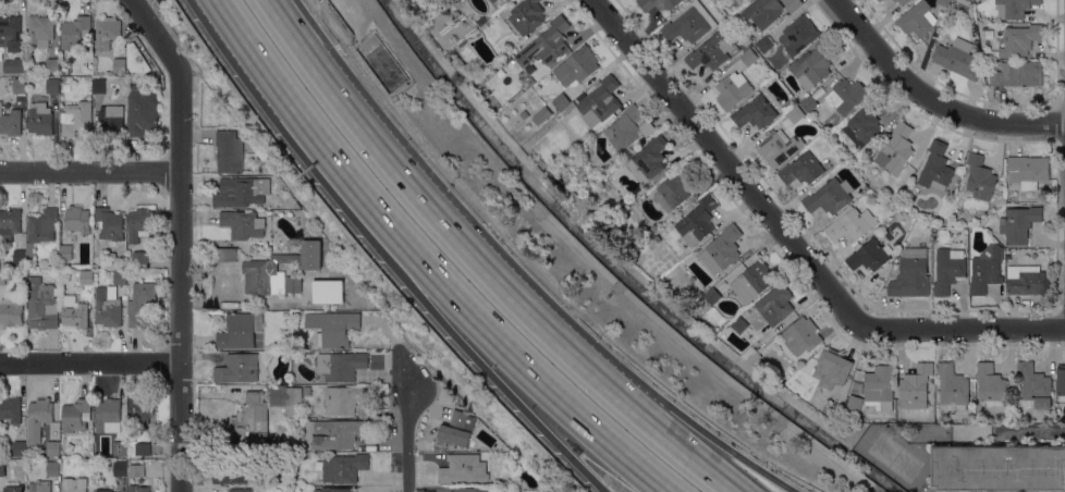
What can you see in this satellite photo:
building: (878, 0)
building: (880, 0)
building: (493, 1)
building: (506, 1)
building: (739, 1)
building: (902, 1)
building: (944, 2)
building: (659, 4)
building: (962, 8)
building: (1014, 8)
building: (763, 12)
building: (527, 16)
building: (917, 19)
building: (481, 21)
building: (689, 24)
building: (41, 30)
building: (75, 32)
building: (11, 33)
building: (107, 35)
building: (798, 35)
road: (240, 39)
building: (1020, 40)
building: (547, 44)
road: (327, 45)
building: (764, 45)
road: (304, 49)
building: (711, 52)
building: (749, 58)
building: (958, 58)
building: (136, 59)
building: (15, 65)
building: (52, 65)
building: (119, 65)
building: (812, 65)
building: (536, 66)
building: (577, 66)
building: (1017, 74)
building: (19, 86)
building: (52, 86)
building: (99, 86)
building: (733, 89)
building: (845, 96)
road: (930, 98)
building: (562, 101)
building: (600, 103)
building: (809, 103)
building: (568, 109)
building: (142, 111)
building: (756, 113)
building: (524, 114)
building: (795, 114)
building: (542, 115)
building: (76, 118)
building: (40, 119)
building: (111, 120)
building: (11, 122)
building: (864, 124)
building: (628, 128)
building: (779, 147)
building: (896, 150)
building: (229, 152)
building: (650, 159)
building: (935, 168)
building: (803, 169)
road: (90, 171)
building: (1028, 171)
road: (737, 176)
building: (980, 177)
building: (559, 180)
building: (674, 189)
building: (241, 192)
building: (860, 193)
building: (574, 195)
building: (830, 196)
building: (296, 207)
building: (77, 221)
building: (697, 221)
building: (10, 222)
building: (140, 223)
building: (1019, 223)
building: (110, 224)
building: (243, 224)
building: (850, 224)
building: (41, 229)
road: (452, 234)
road: (180, 237)
building: (722, 249)
building: (66, 251)
building: (227, 255)
building: (870, 255)
building: (20, 257)
building: (139, 257)
building: (260, 266)
building: (948, 270)
building: (987, 270)
building: (911, 274)
building: (120, 276)
building: (2, 278)
building: (86, 278)
building: (754, 282)
building: (1027, 282)
building: (293, 284)
building: (161, 291)
building: (328, 291)
road: (419, 295)
road: (455, 295)
building: (712, 296)
building: (140, 302)
building: (42, 305)
building: (108, 307)
building: (778, 308)
building: (11, 310)
building: (74, 311)
building: (752, 318)
building: (739, 325)
building: (333, 328)
road: (979, 329)
building: (242, 331)
building: (803, 336)
building: (752, 355)
road: (89, 361)
building: (342, 366)
building: (237, 368)
building: (833, 369)
building: (1061, 381)
building: (991, 385)
building: (1036, 385)
building: (880, 388)
building: (916, 388)
building: (953, 388)
building: (345, 399)
building: (287, 401)
building: (855, 403)
building: (11, 409)
building: (140, 410)
building: (40, 411)
building: (75, 415)
building: (108, 416)
building: (252, 417)
road: (695, 420)
road: (657, 427)
building: (456, 428)
road: (405, 432)
road: (1035, 432)
building: (333, 433)
building: (20, 447)
building: (52, 448)
building: (120, 448)
building: (143, 448)
building: (120, 468)
building: (344, 468)
building: (999, 468)
building: (2, 469)
building: (53, 469)
building: (463, 469)
building: (136, 470)
building: (237, 473)
building: (0, 482)
building: (74, 484)
building: (40, 487)
building: (14, 489)
building: (138, 489)
building: (105, 490)
building: (241, 490)
building: (335, 490)
building: (466, 490)
building: (534, 491)
building: (994, 491)

